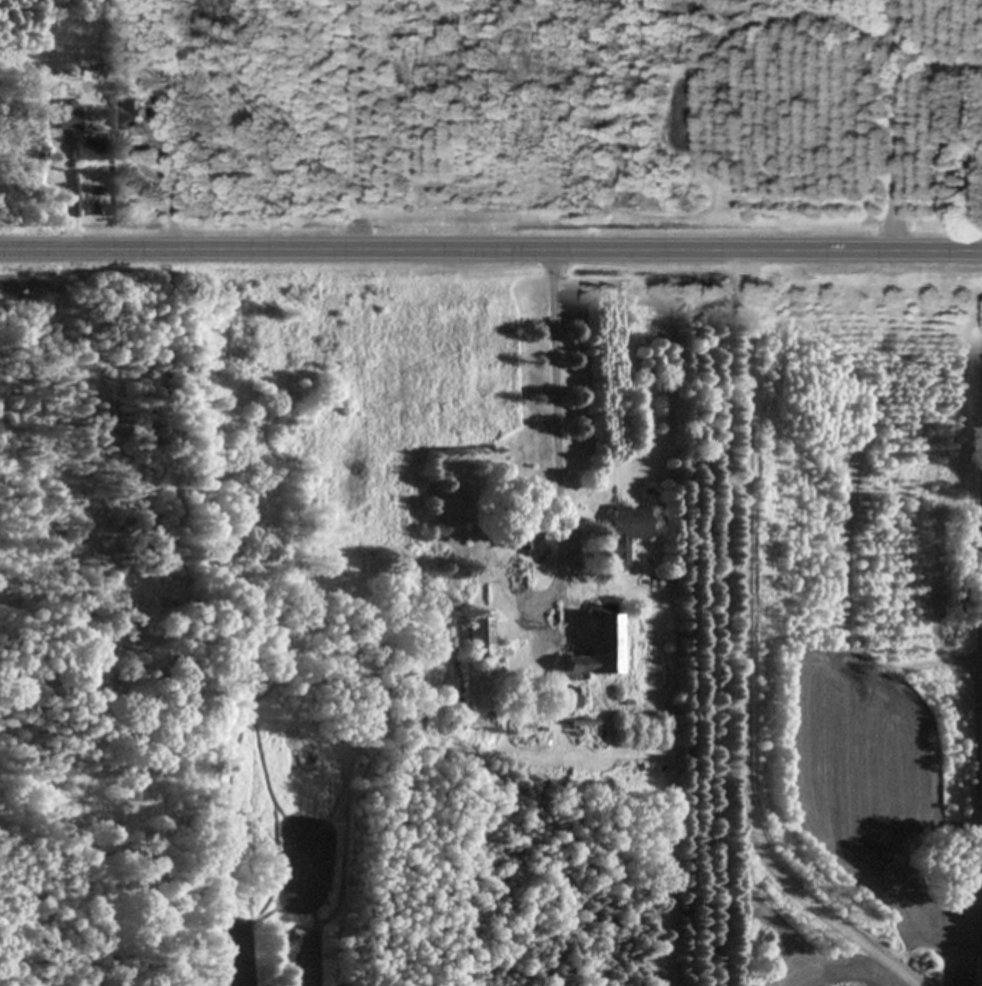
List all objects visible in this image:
building: (156, 115)
building: (129, 116)
road: (899, 123)
building: (79, 134)
road: (177, 201)
road: (72, 204)
road: (490, 247)
road: (561, 485)
building: (627, 533)
building: (530, 546)
building: (479, 637)
building: (598, 648)
road: (748, 654)

